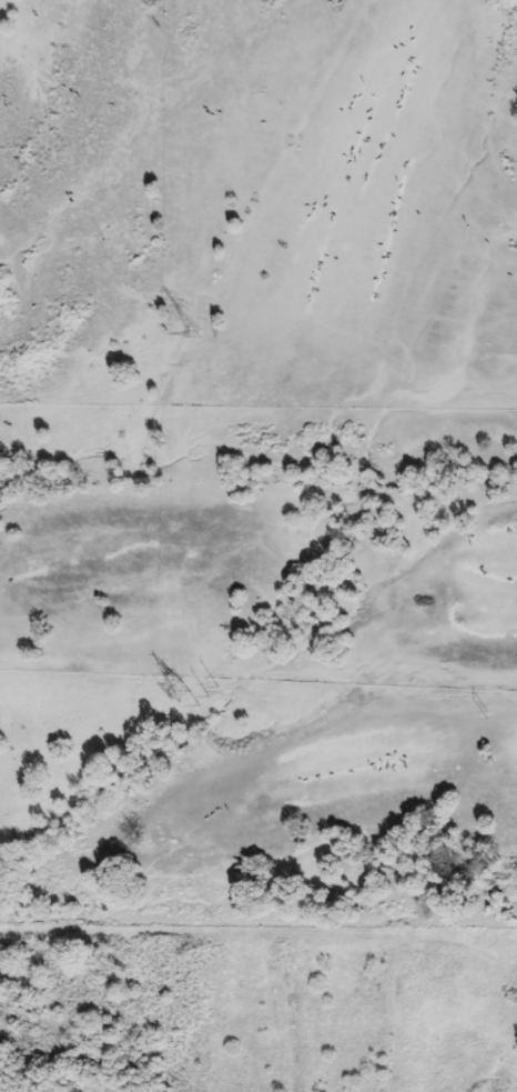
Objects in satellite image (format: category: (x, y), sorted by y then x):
power tower: (192, 339)
power tower: (173, 698)
power tower: (206, 700)
power tower: (487, 712)

